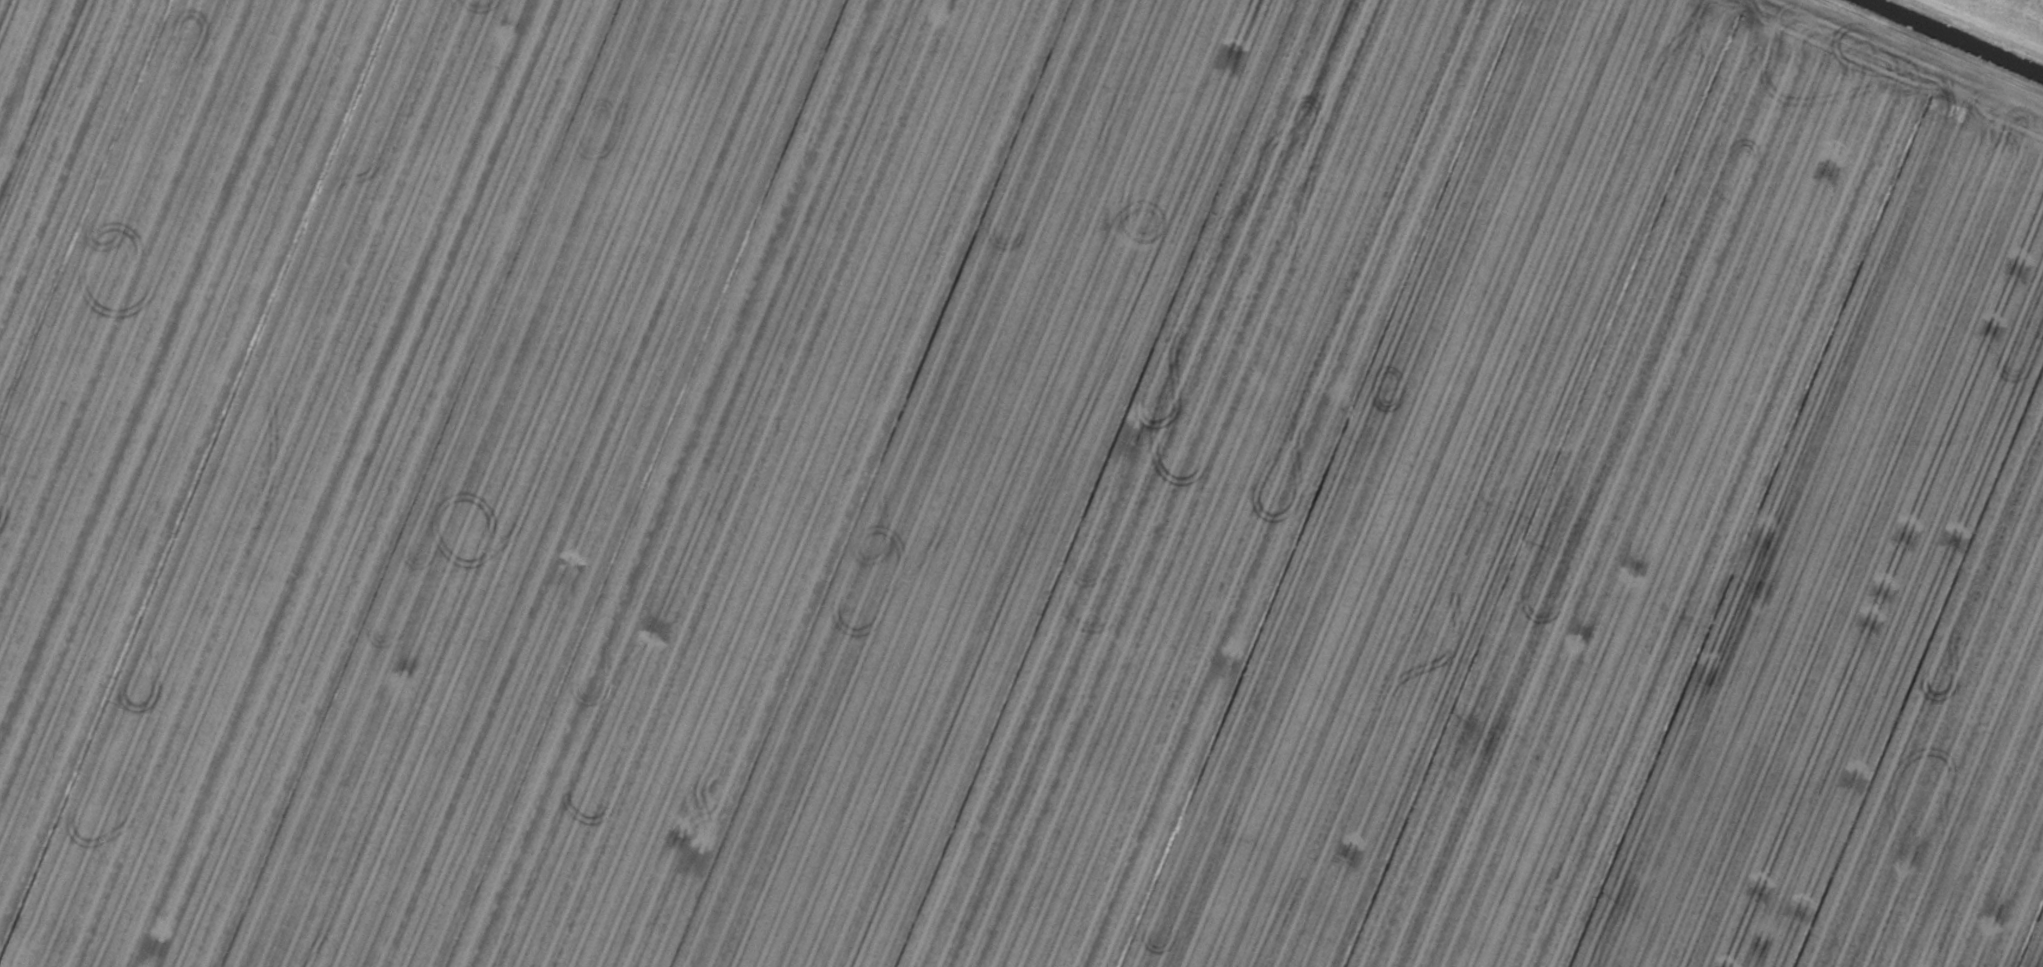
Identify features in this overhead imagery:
crop: (1021, 483)

